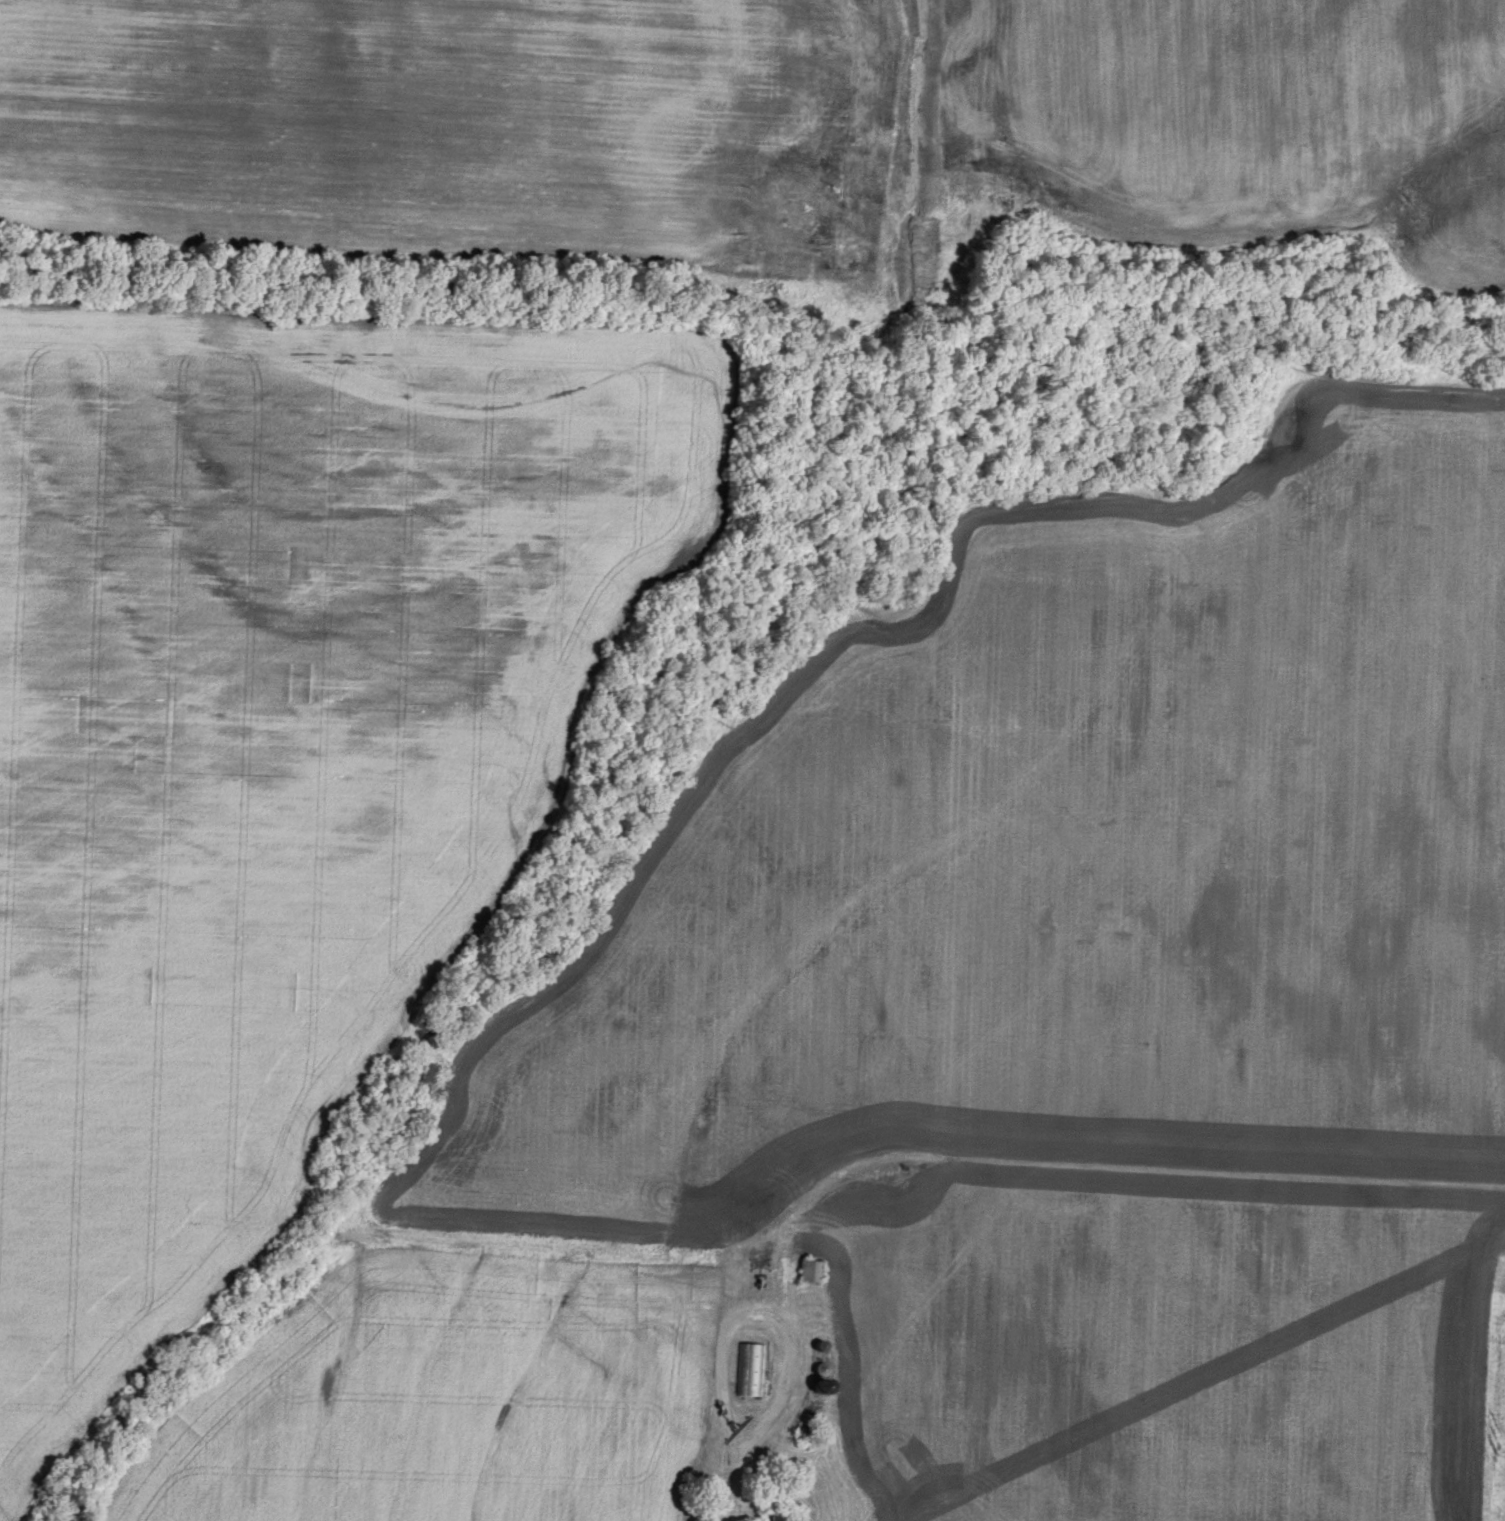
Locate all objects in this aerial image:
road: (763, 1312)
building: (750, 1365)
road: (728, 1494)

